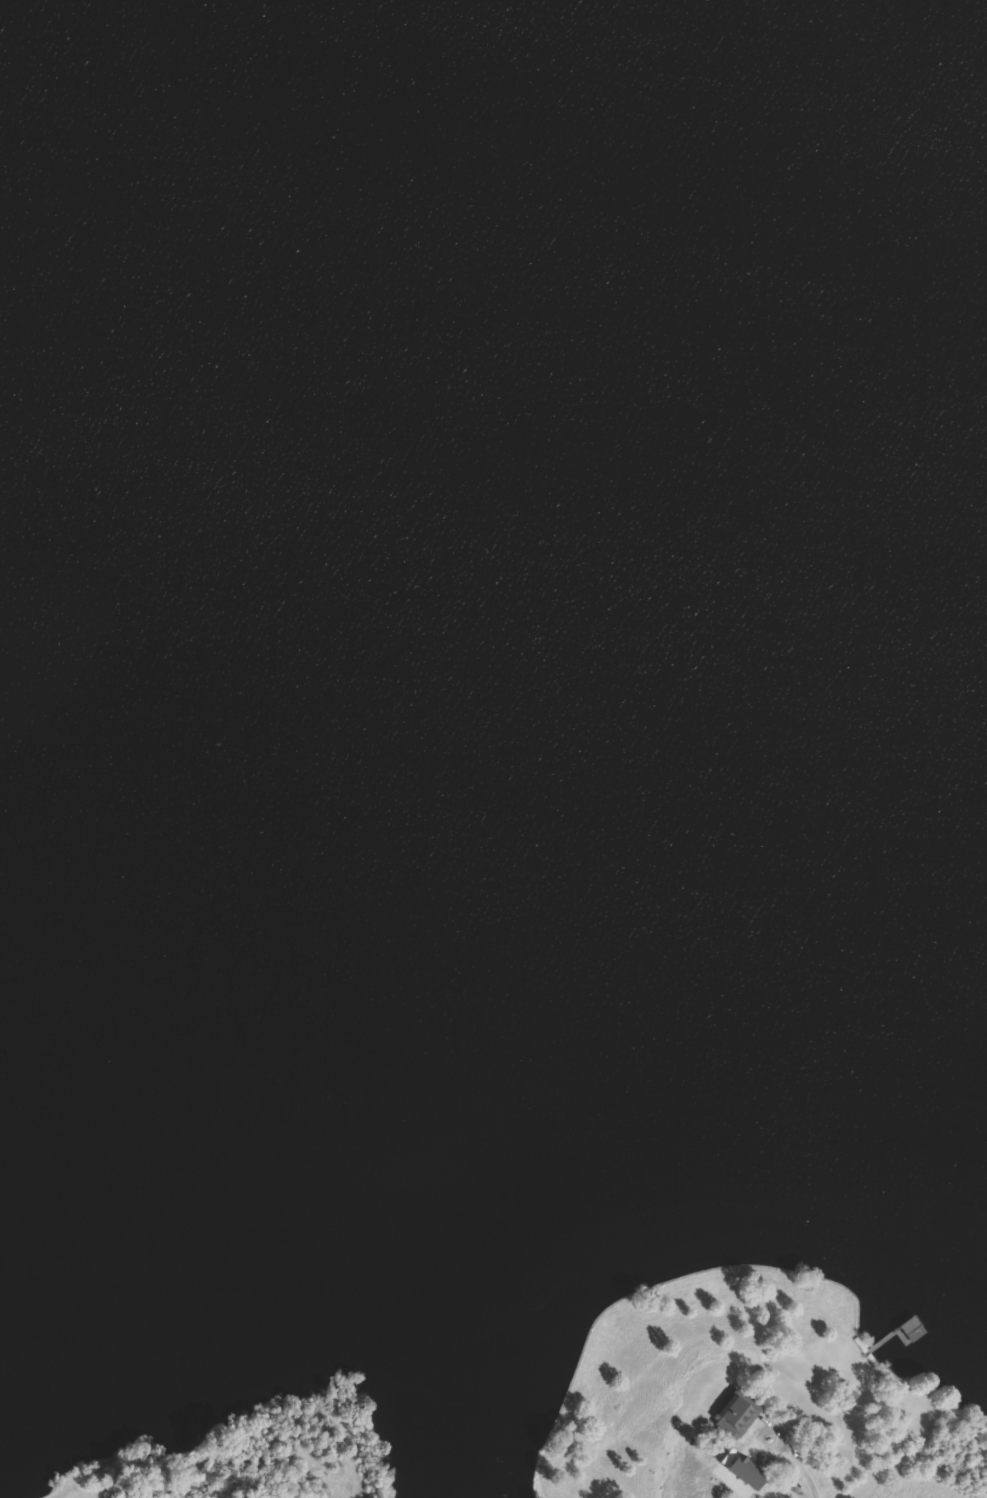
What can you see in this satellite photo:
building: (738, 1413)
road: (797, 1464)

